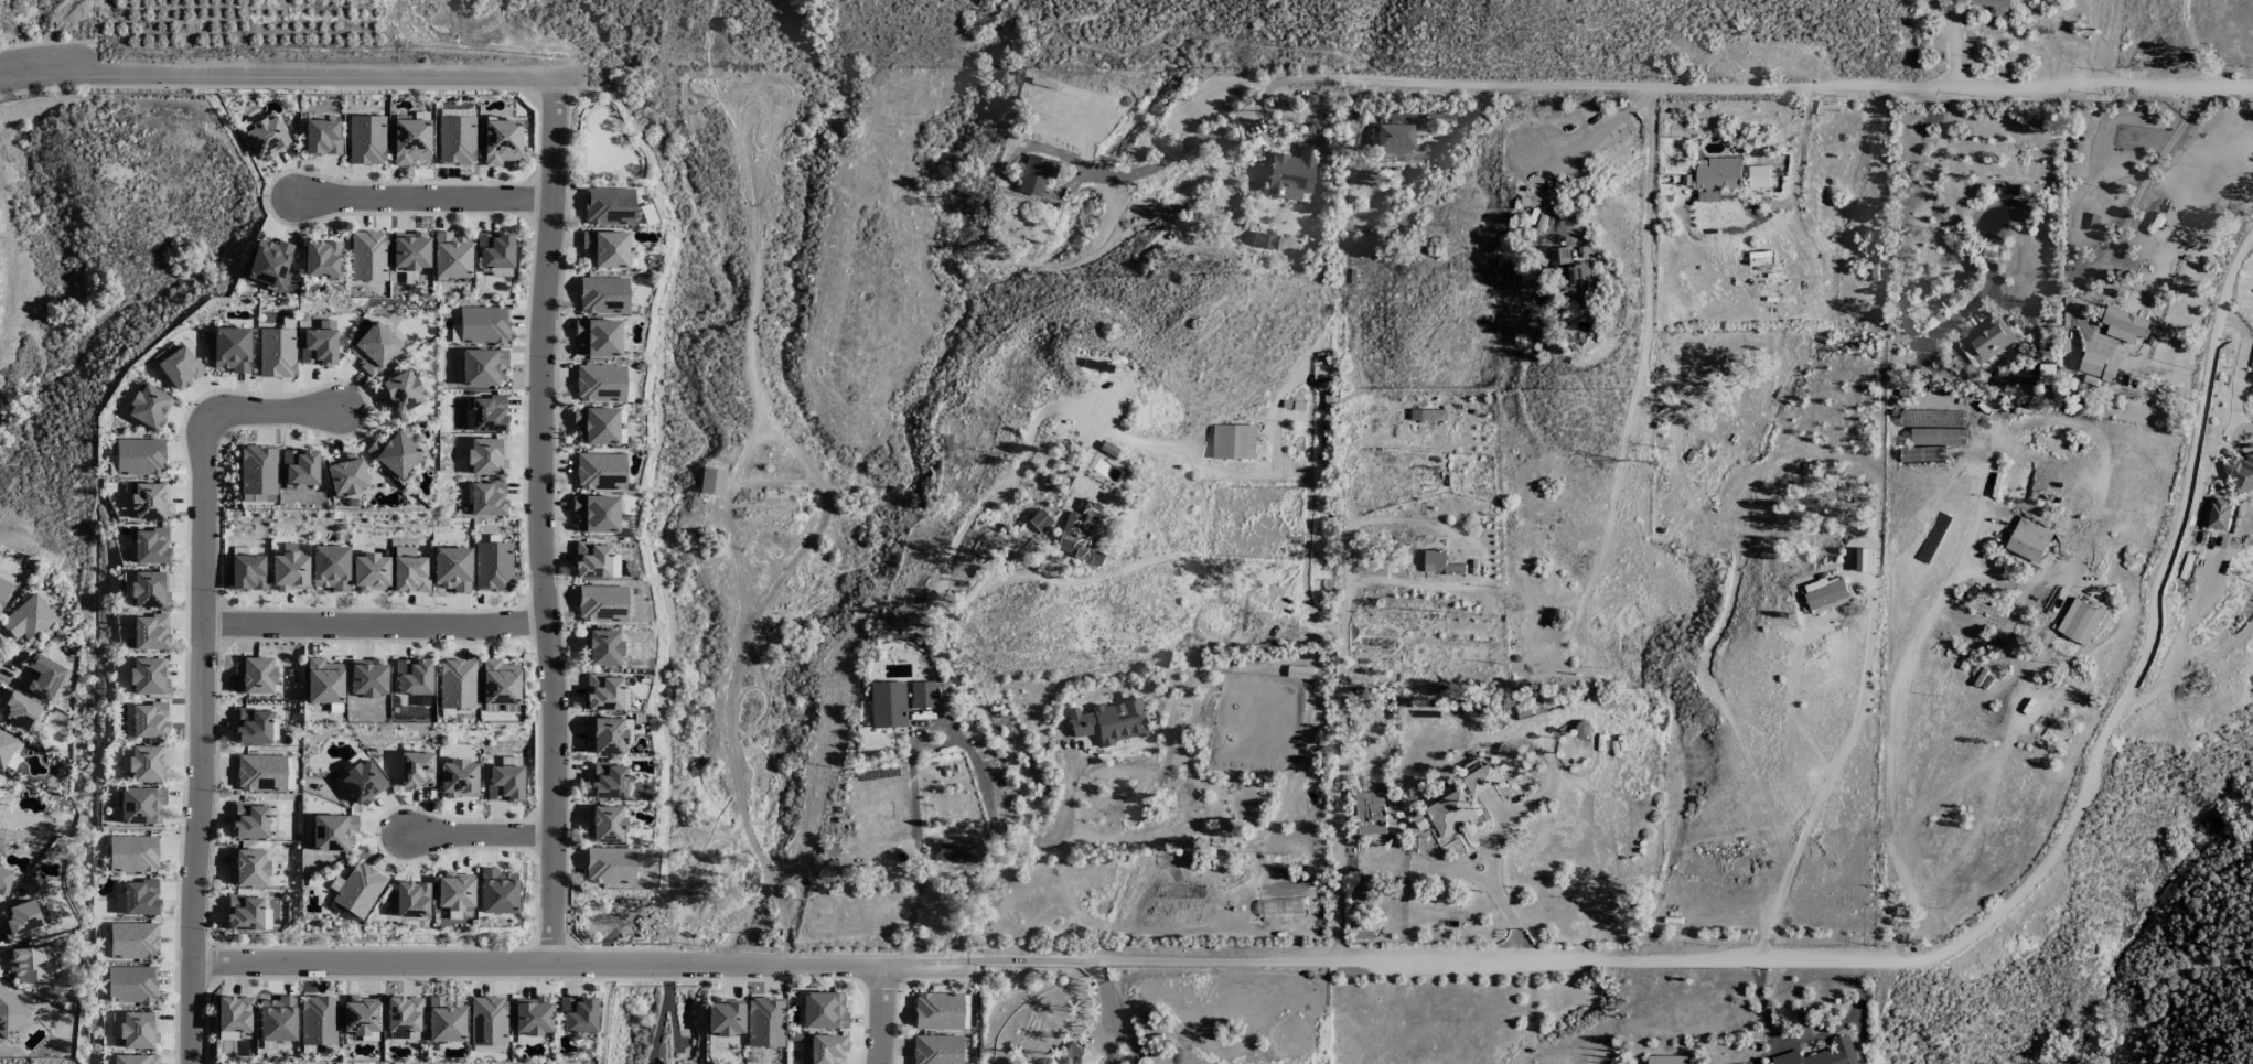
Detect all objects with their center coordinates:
building: (1991, 3)
building: (1997, 14)
road: (1956, 43)
road: (278, 74)
road: (1766, 86)
building: (457, 112)
road: (1361, 133)
building: (322, 137)
building: (267, 138)
building: (1394, 138)
building: (367, 140)
building: (457, 140)
building: (410, 141)
building: (501, 141)
park: (604, 144)
road: (1584, 149)
building: (1291, 173)
building: (1036, 174)
building: (1758, 176)
building: (1715, 178)
road: (428, 201)
building: (609, 206)
building: (1264, 240)
building: (494, 249)
building: (605, 249)
building: (410, 251)
building: (451, 255)
building: (368, 256)
building: (1559, 257)
building: (321, 258)
building: (269, 262)
building: (1577, 284)
building: (603, 294)
road: (1905, 310)
building: (484, 324)
building: (2122, 324)
building: (598, 337)
building: (1988, 341)
building: (319, 344)
building: (375, 347)
building: (232, 348)
building: (277, 353)
road: (1640, 358)
building: (483, 367)
building: (180, 368)
road: (2241, 370)
building: (600, 383)
building: (400, 391)
building: (149, 407)
road: (1050, 408)
building: (489, 413)
building: (597, 426)
building: (1936, 438)
building: (1233, 442)
building: (395, 452)
building: (140, 456)
building: (486, 456)
building: (300, 467)
building: (258, 470)
building: (600, 471)
building: (2241, 473)
building: (345, 475)
building: (712, 481)
building: (125, 496)
building: (487, 498)
building: (149, 501)
building: (596, 513)
building: (2218, 514)
road: (1370, 519)
road: (543, 522)
building: (1081, 533)
building: (2027, 540)
building: (151, 546)
building: (1862, 560)
building: (591, 561)
building: (1439, 563)
building: (493, 566)
building: (331, 568)
building: (451, 568)
building: (290, 569)
building: (409, 570)
building: (248, 572)
building: (371, 572)
building: (4, 585)
building: (148, 589)
building: (1825, 595)
road: (1344, 600)
building: (602, 603)
building: (29, 619)
building: (2079, 622)
road: (376, 627)
building: (150, 632)
building: (603, 647)
building: (149, 675)
building: (255, 675)
building: (43, 676)
building: (367, 677)
building: (414, 677)
road: (203, 678)
building: (323, 681)
building: (500, 683)
building: (457, 684)
building: (603, 692)
building: (922, 695)
building: (888, 705)
building: (18, 709)
road: (1892, 709)
building: (149, 720)
building: (1109, 721)
building: (253, 726)
road: (943, 727)
building: (605, 735)
building: (6, 746)
building: (147, 763)
building: (417, 770)
building: (260, 773)
building: (459, 778)
building: (1481, 780)
building: (608, 781)
building: (363, 782)
building: (505, 783)
road: (1339, 791)
building: (141, 805)
building: (1370, 814)
building: (1450, 814)
road: (1062, 818)
building: (249, 821)
building: (604, 824)
building: (333, 832)
road: (480, 836)
building: (955, 852)
building: (132, 853)
building: (610, 866)
building: (248, 867)
building: (4, 880)
building: (358, 890)
road: (2020, 890)
building: (454, 891)
building: (497, 891)
building: (140, 898)
building: (412, 899)
building: (244, 913)
building: (21, 921)
building: (133, 941)
road: (1113, 961)
building: (30, 964)
road: (540, 965)
building: (131, 984)
building: (824, 1011)
building: (937, 1011)
road: (1112, 1012)
building: (10, 1013)
building: (234, 1013)
building: (578, 1014)
building: (532, 1015)
road: (883, 1015)
building: (361, 1017)
building: (725, 1017)
building: (404, 1018)
building: (277, 1019)
building: (318, 1020)
building: (446, 1020)
building: (489, 1021)
building: (765, 1021)
building: (139, 1030)
building: (228, 1035)
building: (827, 1049)
building: (936, 1050)
building: (1076, 1054)
building: (1823, 1055)
building: (136, 1058)
building: (1666, 1060)

